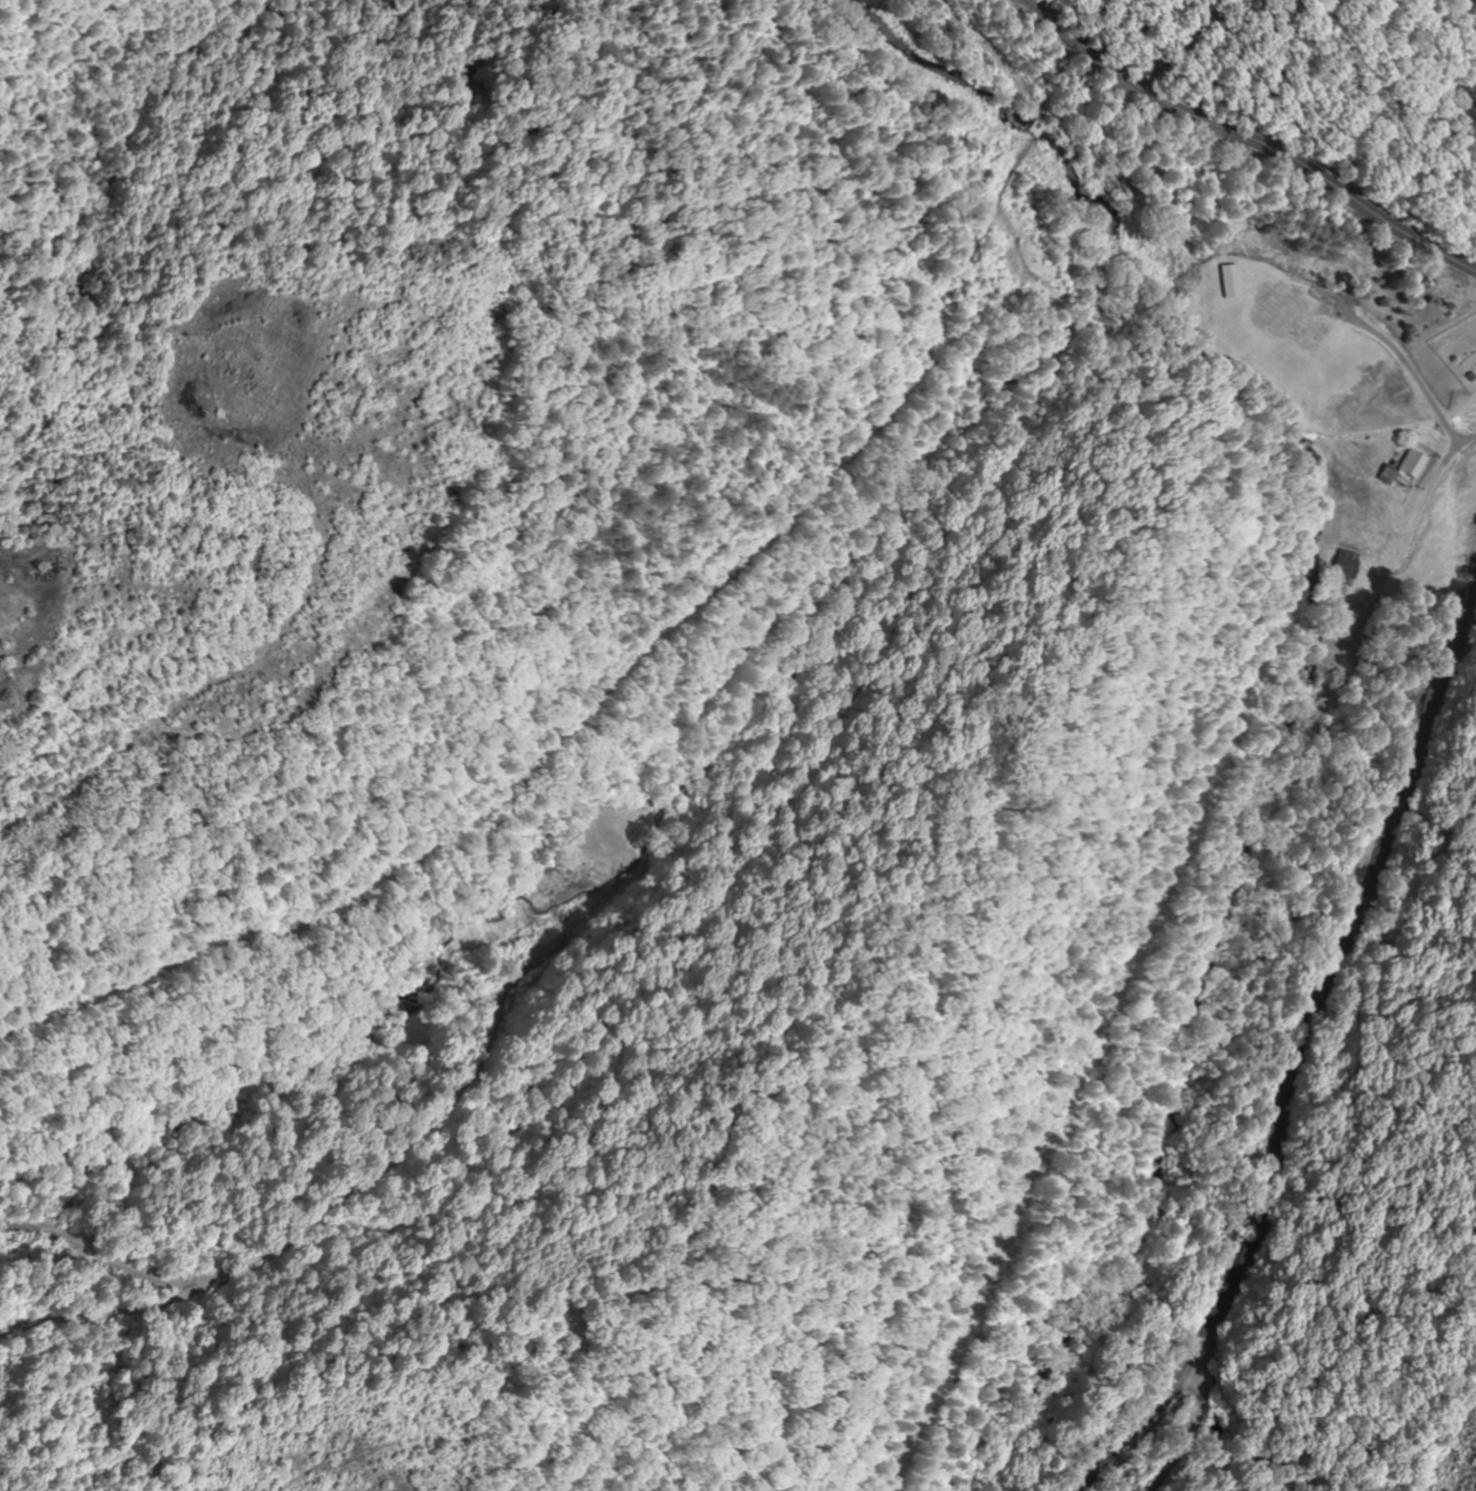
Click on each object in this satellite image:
road: (1250, 138)
building: (1231, 281)
building: (1317, 325)
building: (1413, 464)
building: (1348, 566)
road: (1299, 1047)

